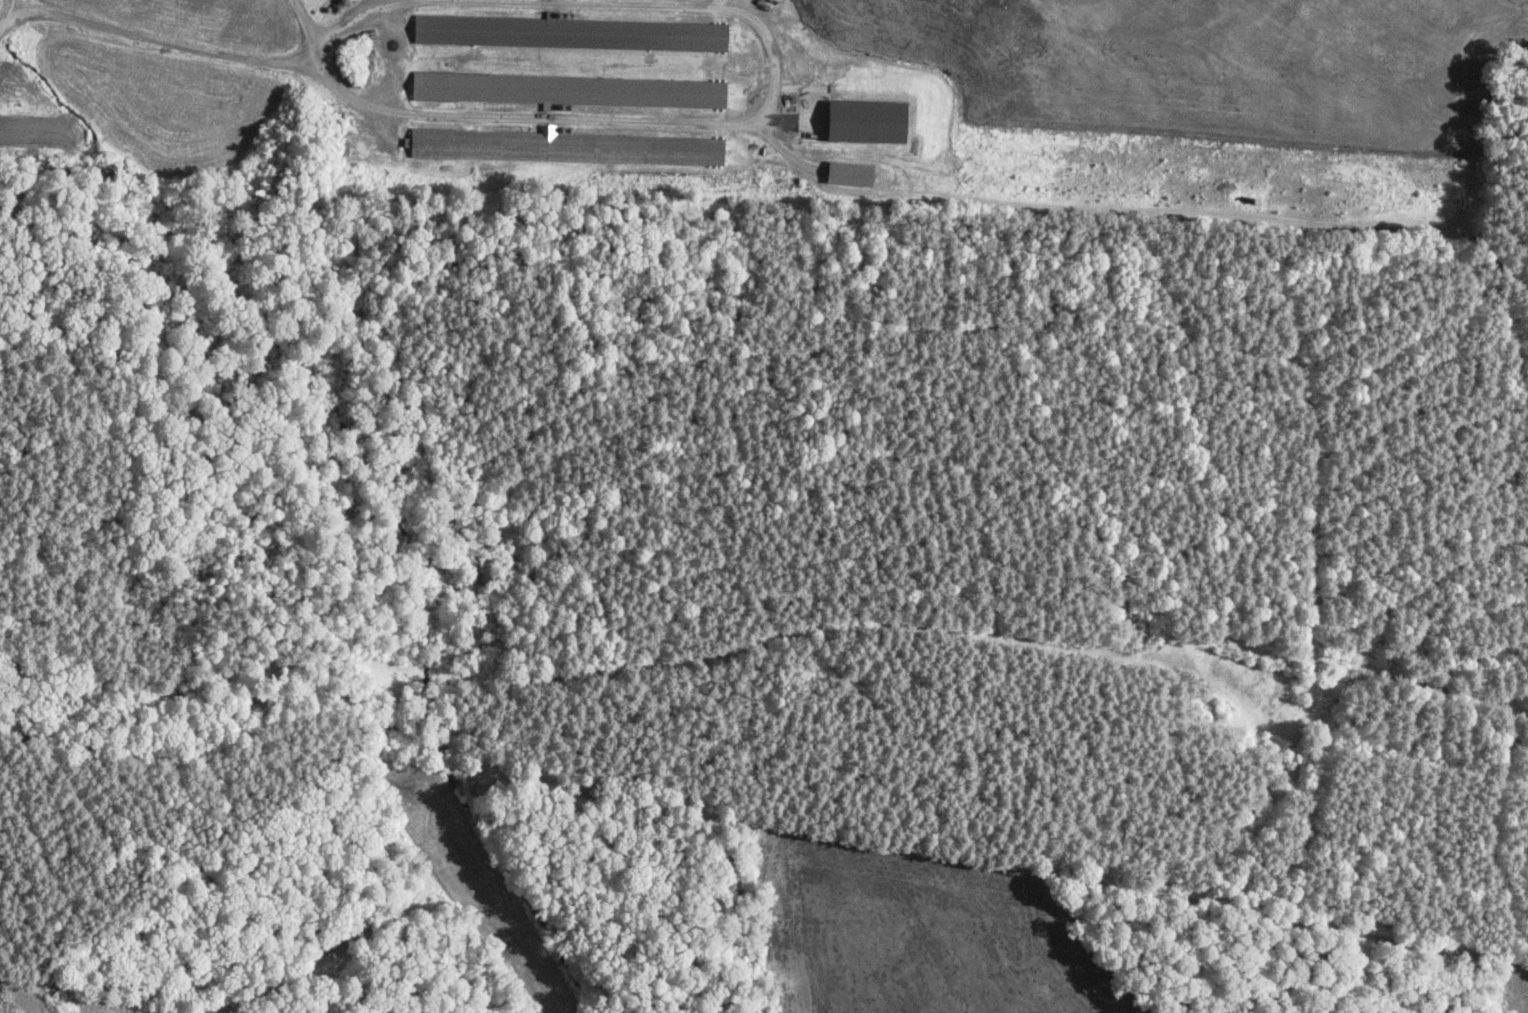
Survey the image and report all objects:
road: (4, 10)
road: (185, 46)
road: (396, 56)
building: (470, 86)
road: (775, 86)
building: (872, 121)

